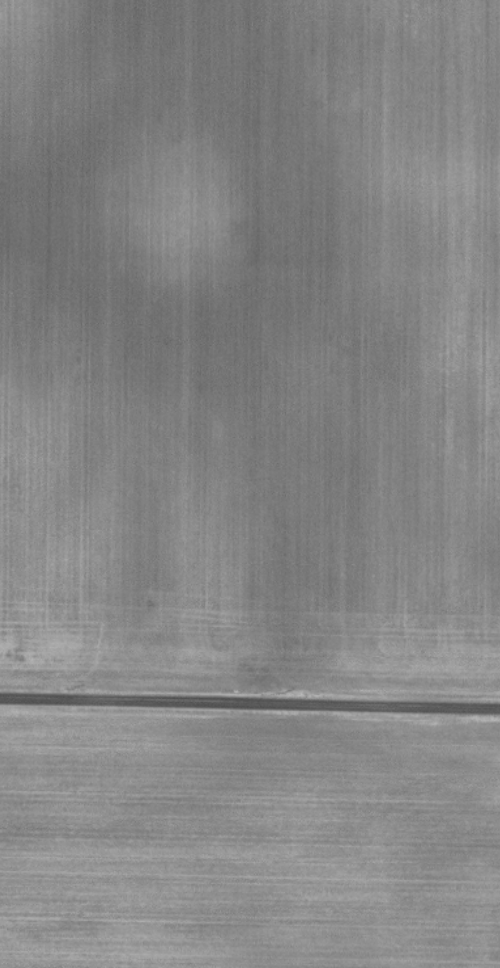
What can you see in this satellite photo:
road: (250, 703)

